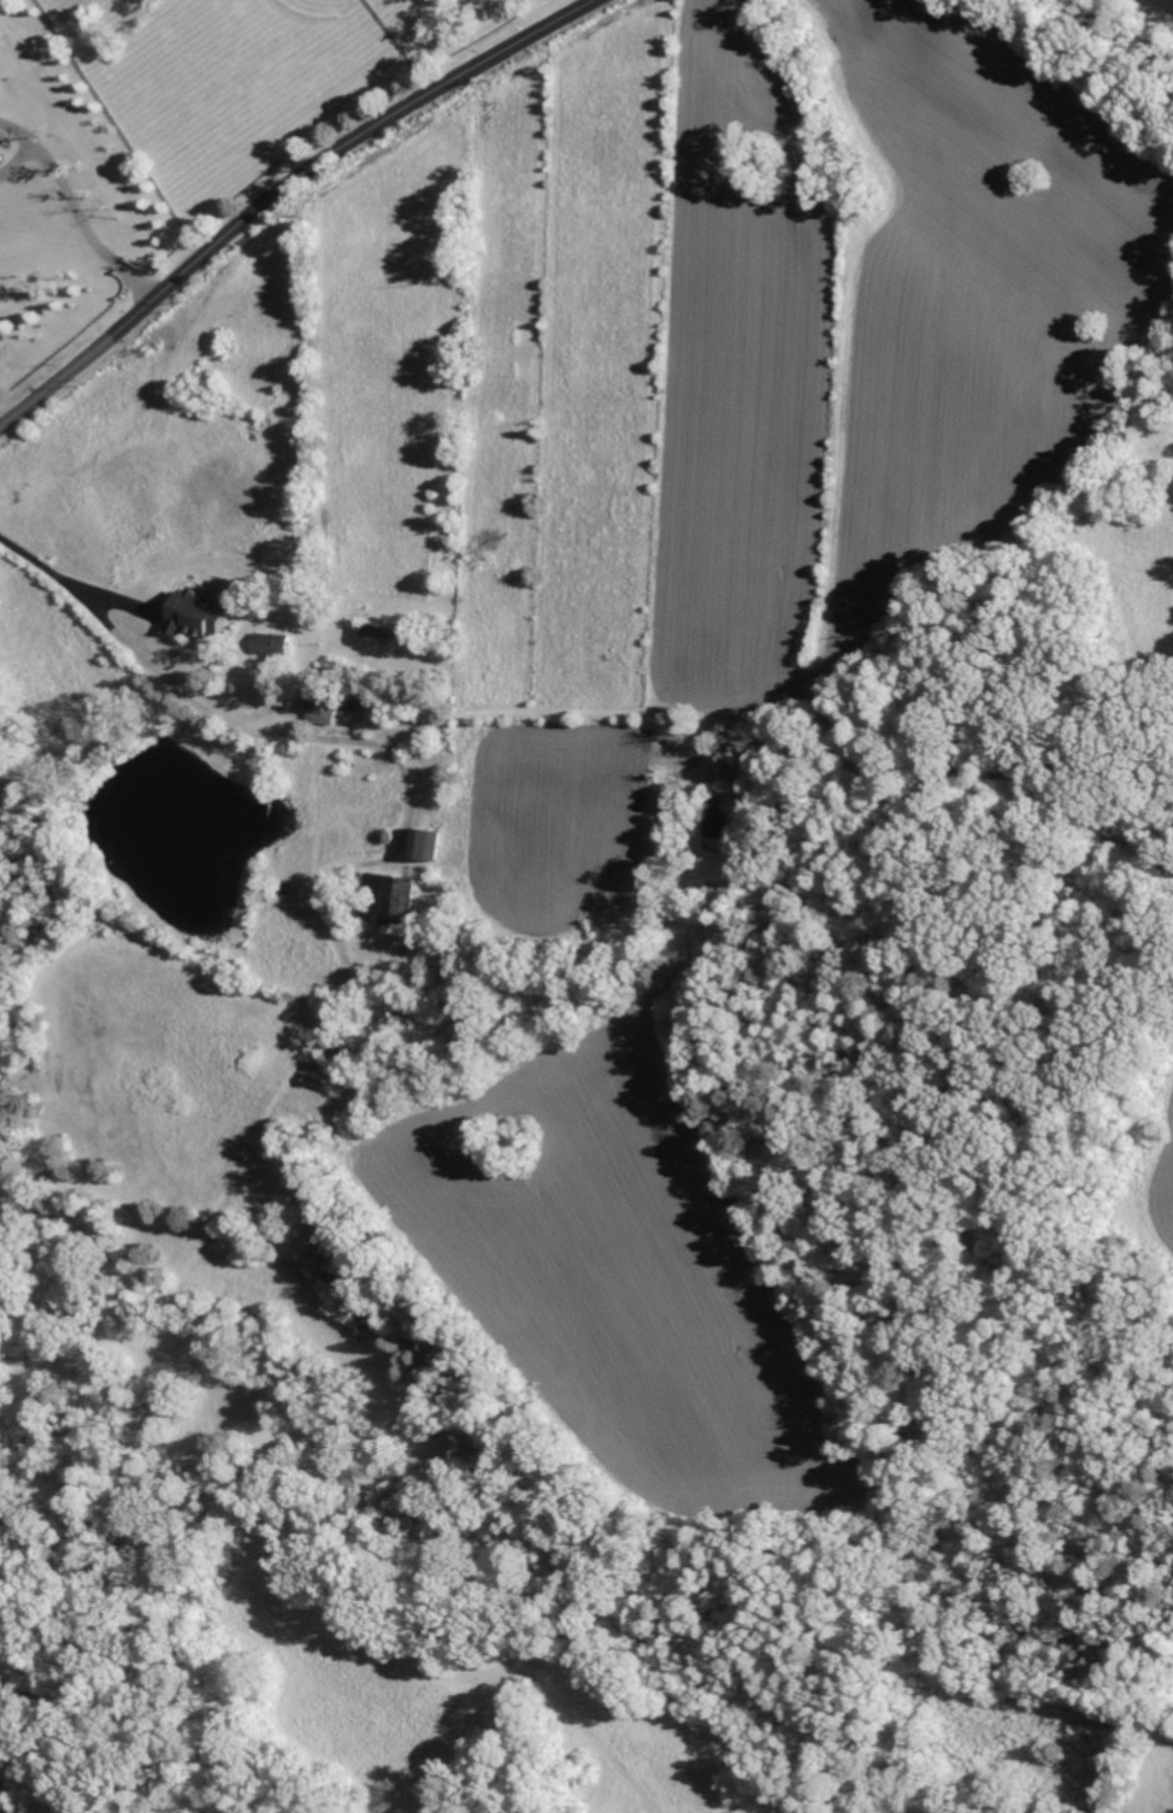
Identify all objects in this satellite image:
road: (19, 134)
road: (18, 161)
road: (279, 192)
road: (88, 229)
park: (23, 236)
road: (64, 581)
building: (198, 616)
building: (270, 643)
building: (319, 710)
building: (423, 843)
building: (388, 899)
building: (349, 1295)

